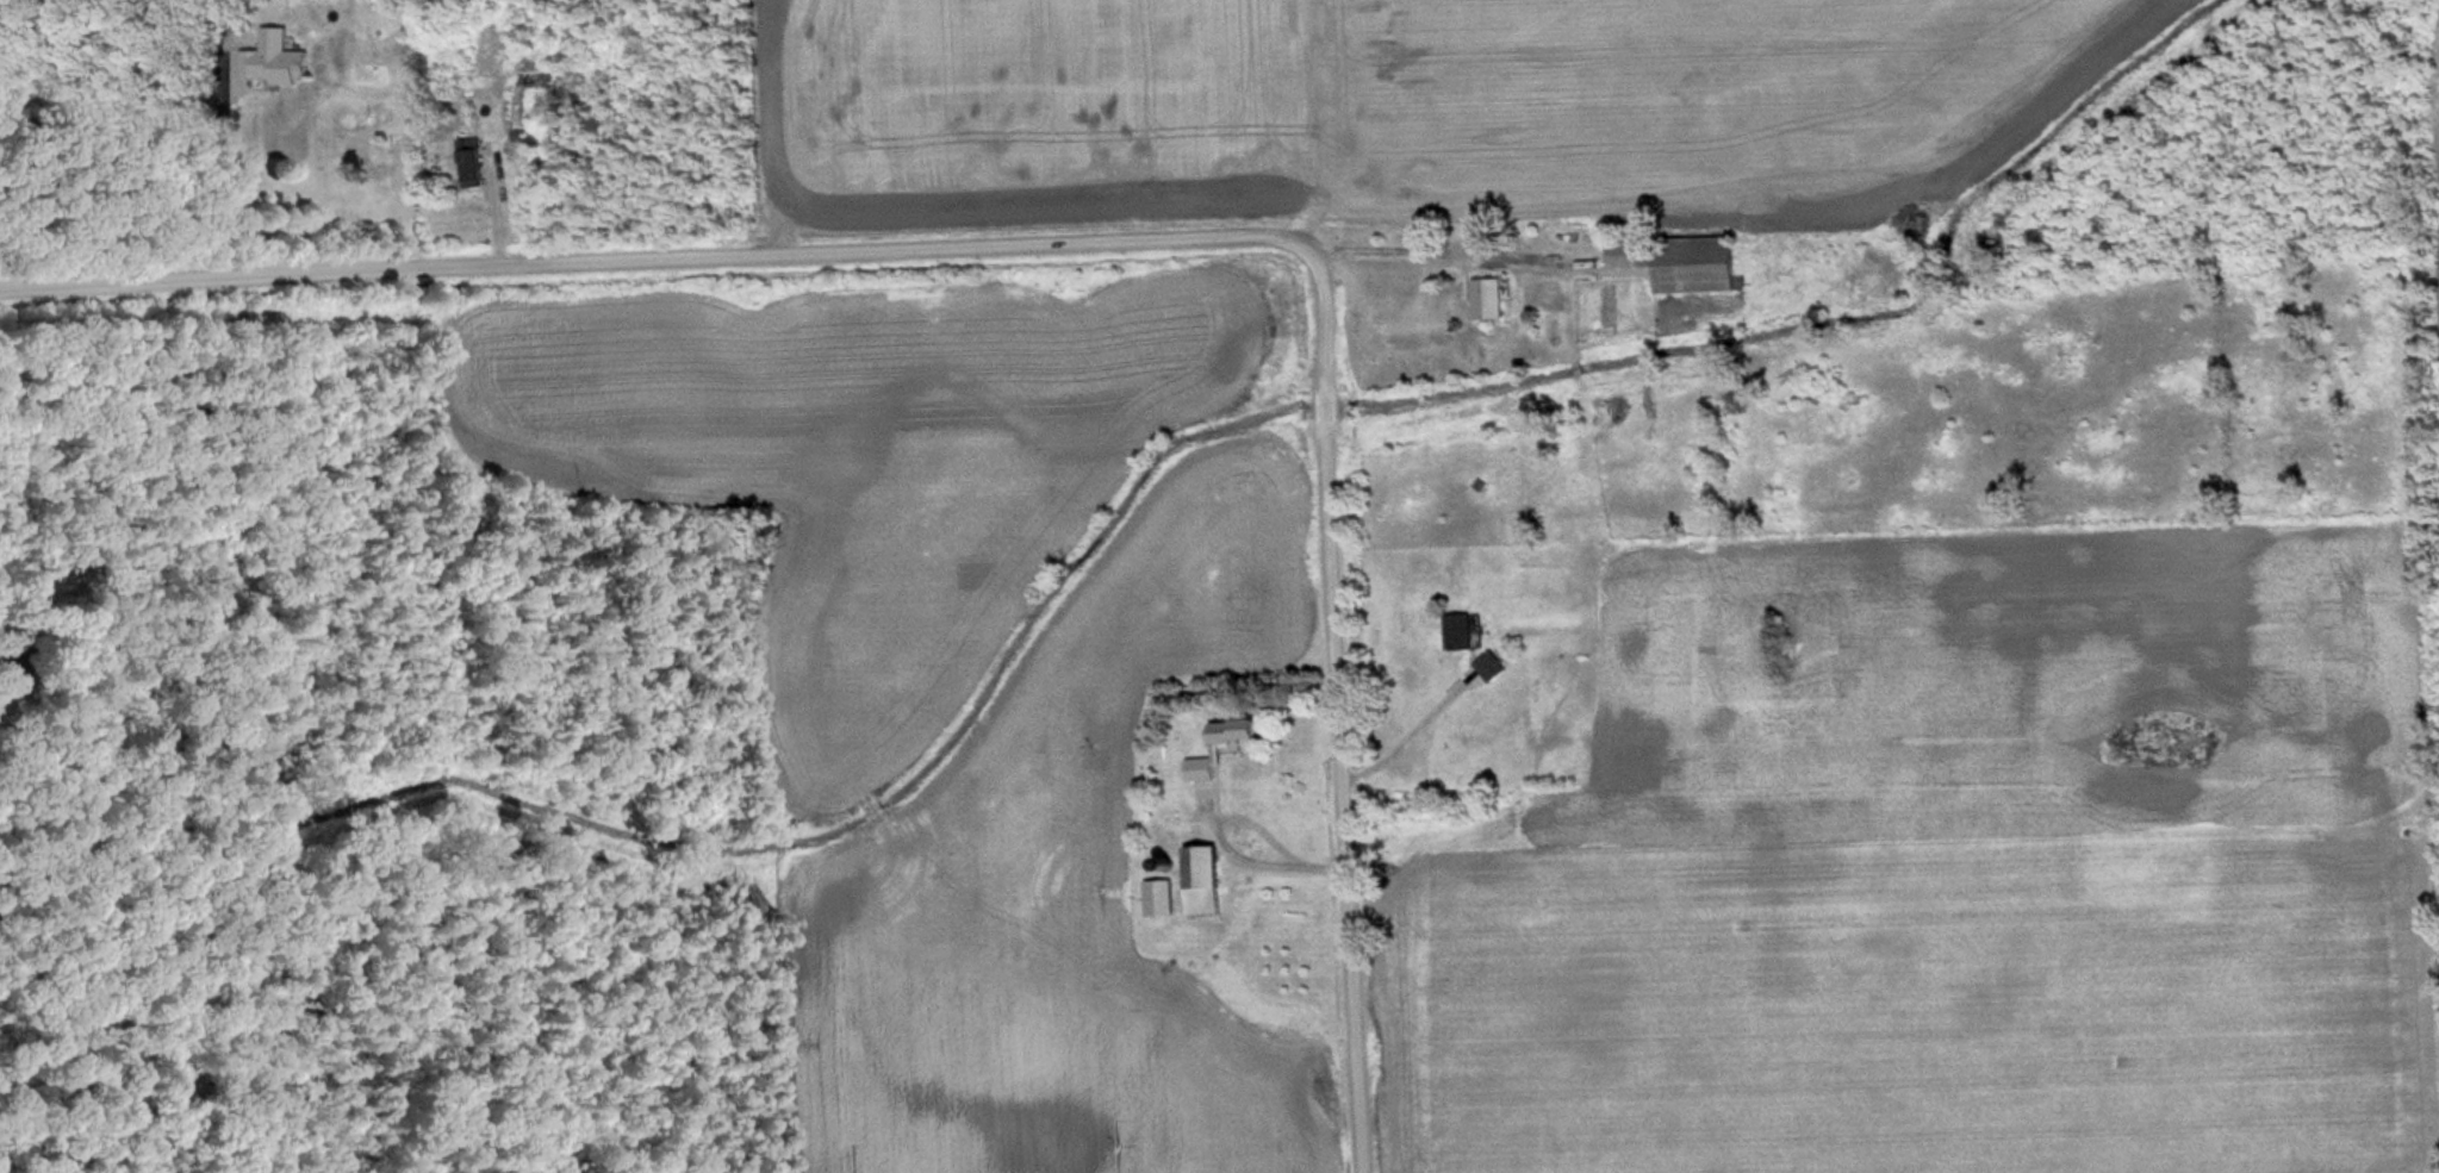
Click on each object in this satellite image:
building: (276, 64)
building: (523, 139)
building: (473, 166)
road: (1114, 243)
road: (1451, 256)
building: (1681, 264)
building: (1489, 302)
building: (1461, 636)
building: (1493, 669)
building: (1222, 748)
building: (1205, 882)
building: (1162, 900)

